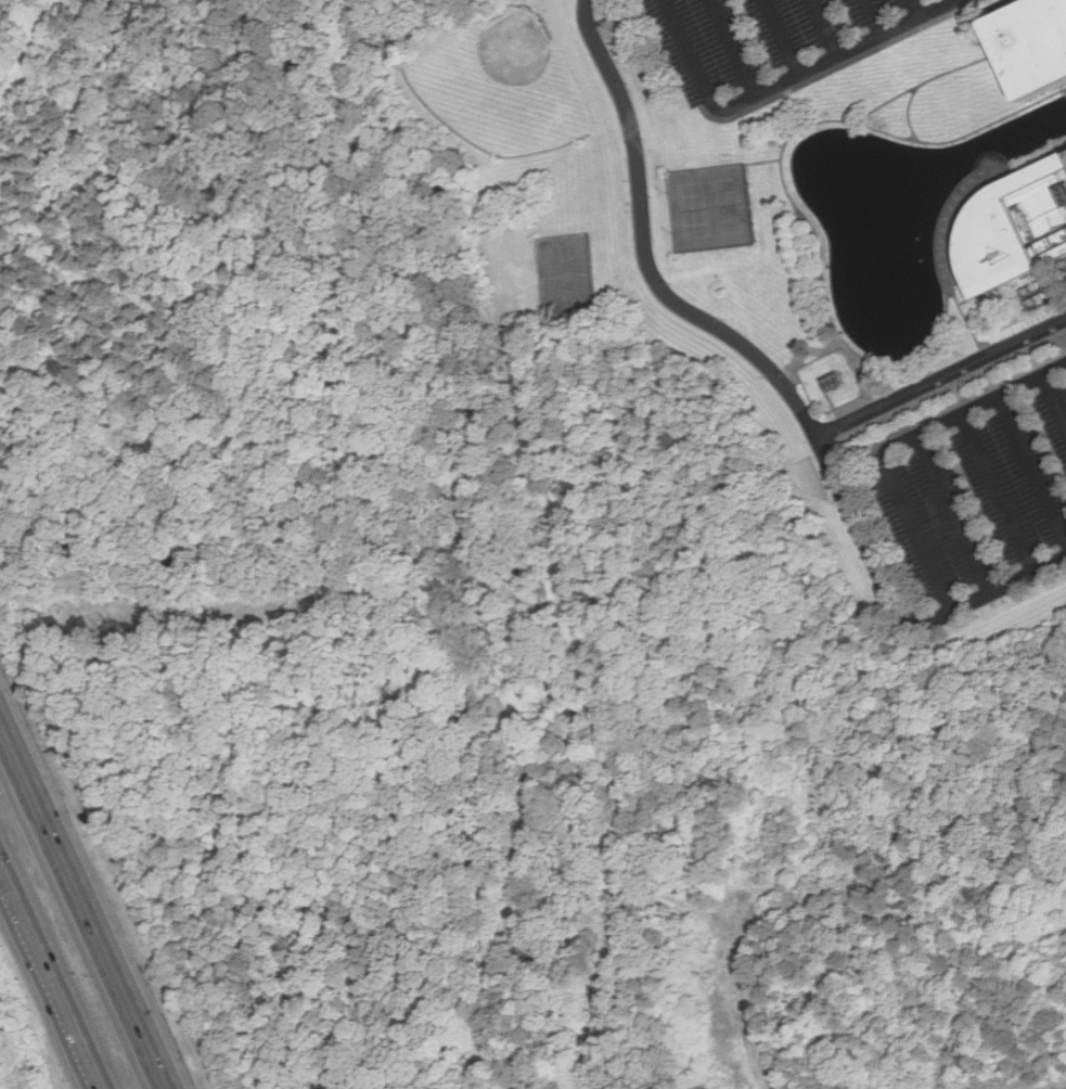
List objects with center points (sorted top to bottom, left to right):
road: (908, 9)
road: (865, 18)
road: (819, 28)
road: (968, 30)
road: (774, 37)
parking lot: (776, 42)
building: (1029, 47)
road: (727, 48)
road: (840, 66)
road: (781, 80)
road: (921, 84)
park: (502, 85)
road: (1065, 90)
road: (910, 110)
road: (762, 161)
road: (784, 183)
road: (966, 188)
park: (710, 206)
building: (1013, 229)
park: (566, 274)
road: (974, 336)
road: (778, 374)
road: (941, 377)
road: (1054, 398)
road: (964, 400)
road: (896, 445)
road: (1032, 464)
park: (809, 481)
parking lot: (984, 494)
road: (999, 494)
road: (953, 515)
road: (84, 905)
road: (735, 971)
road: (50, 981)

